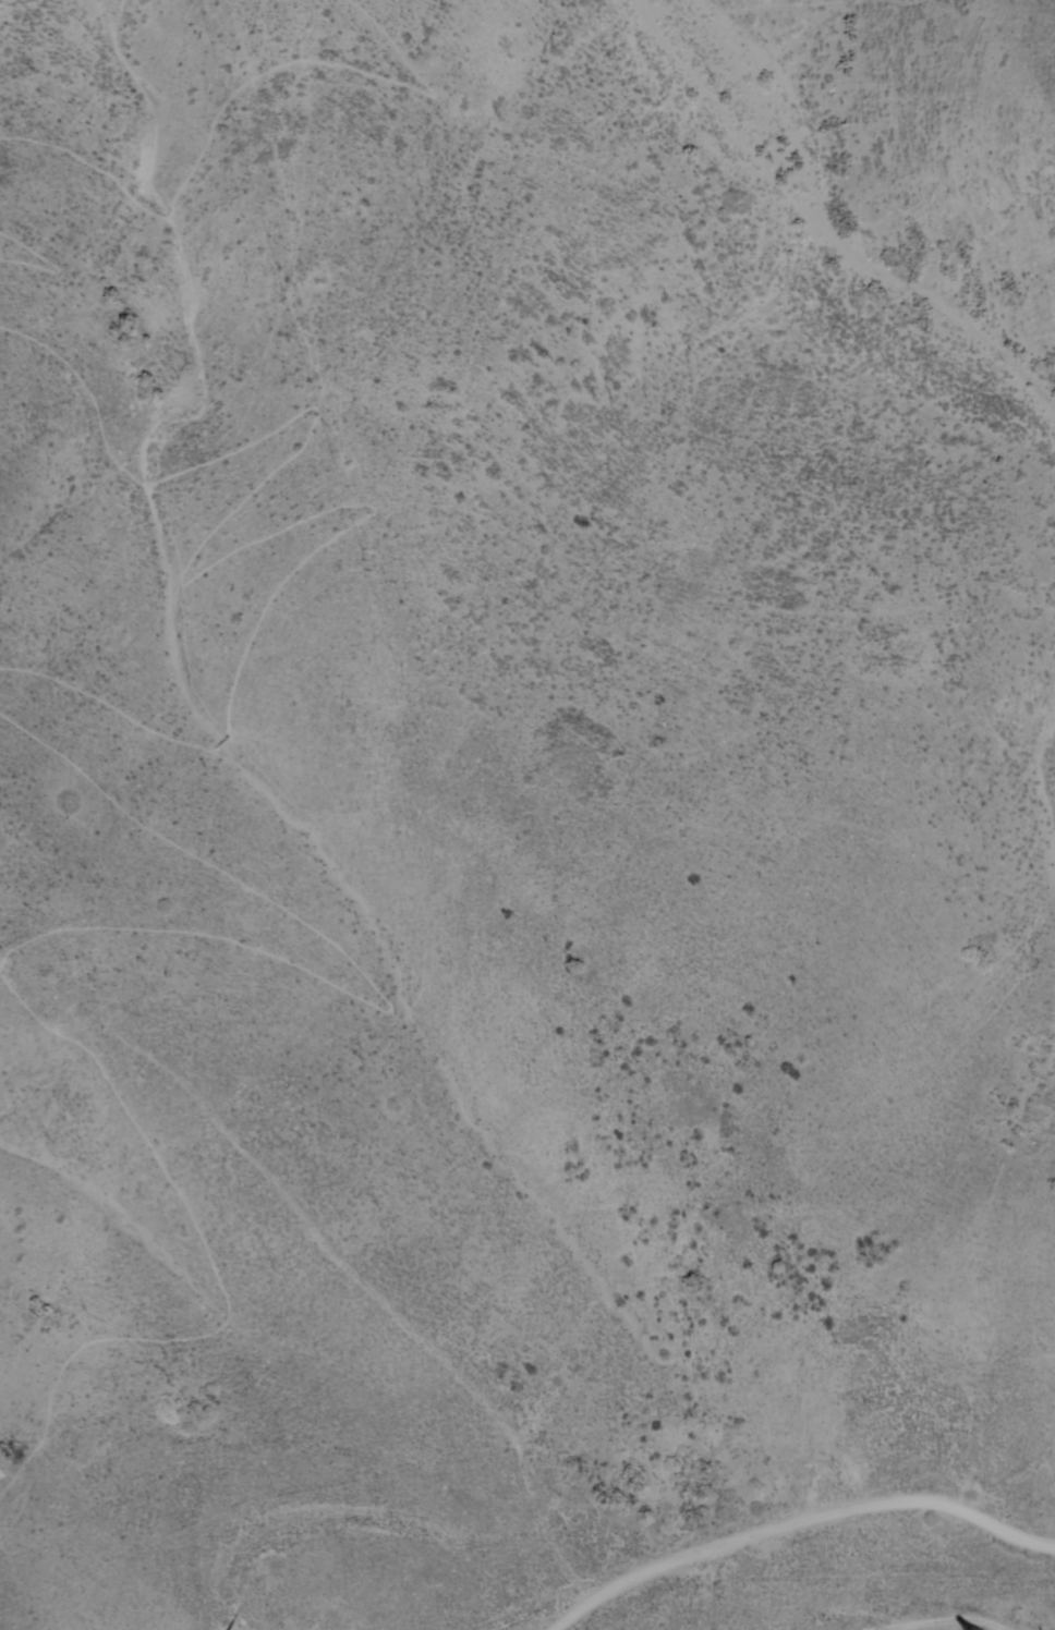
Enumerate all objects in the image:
road: (232, 92)
road: (50, 261)
road: (239, 506)
road: (105, 707)
road: (220, 744)
road: (59, 925)
road: (802, 1522)

